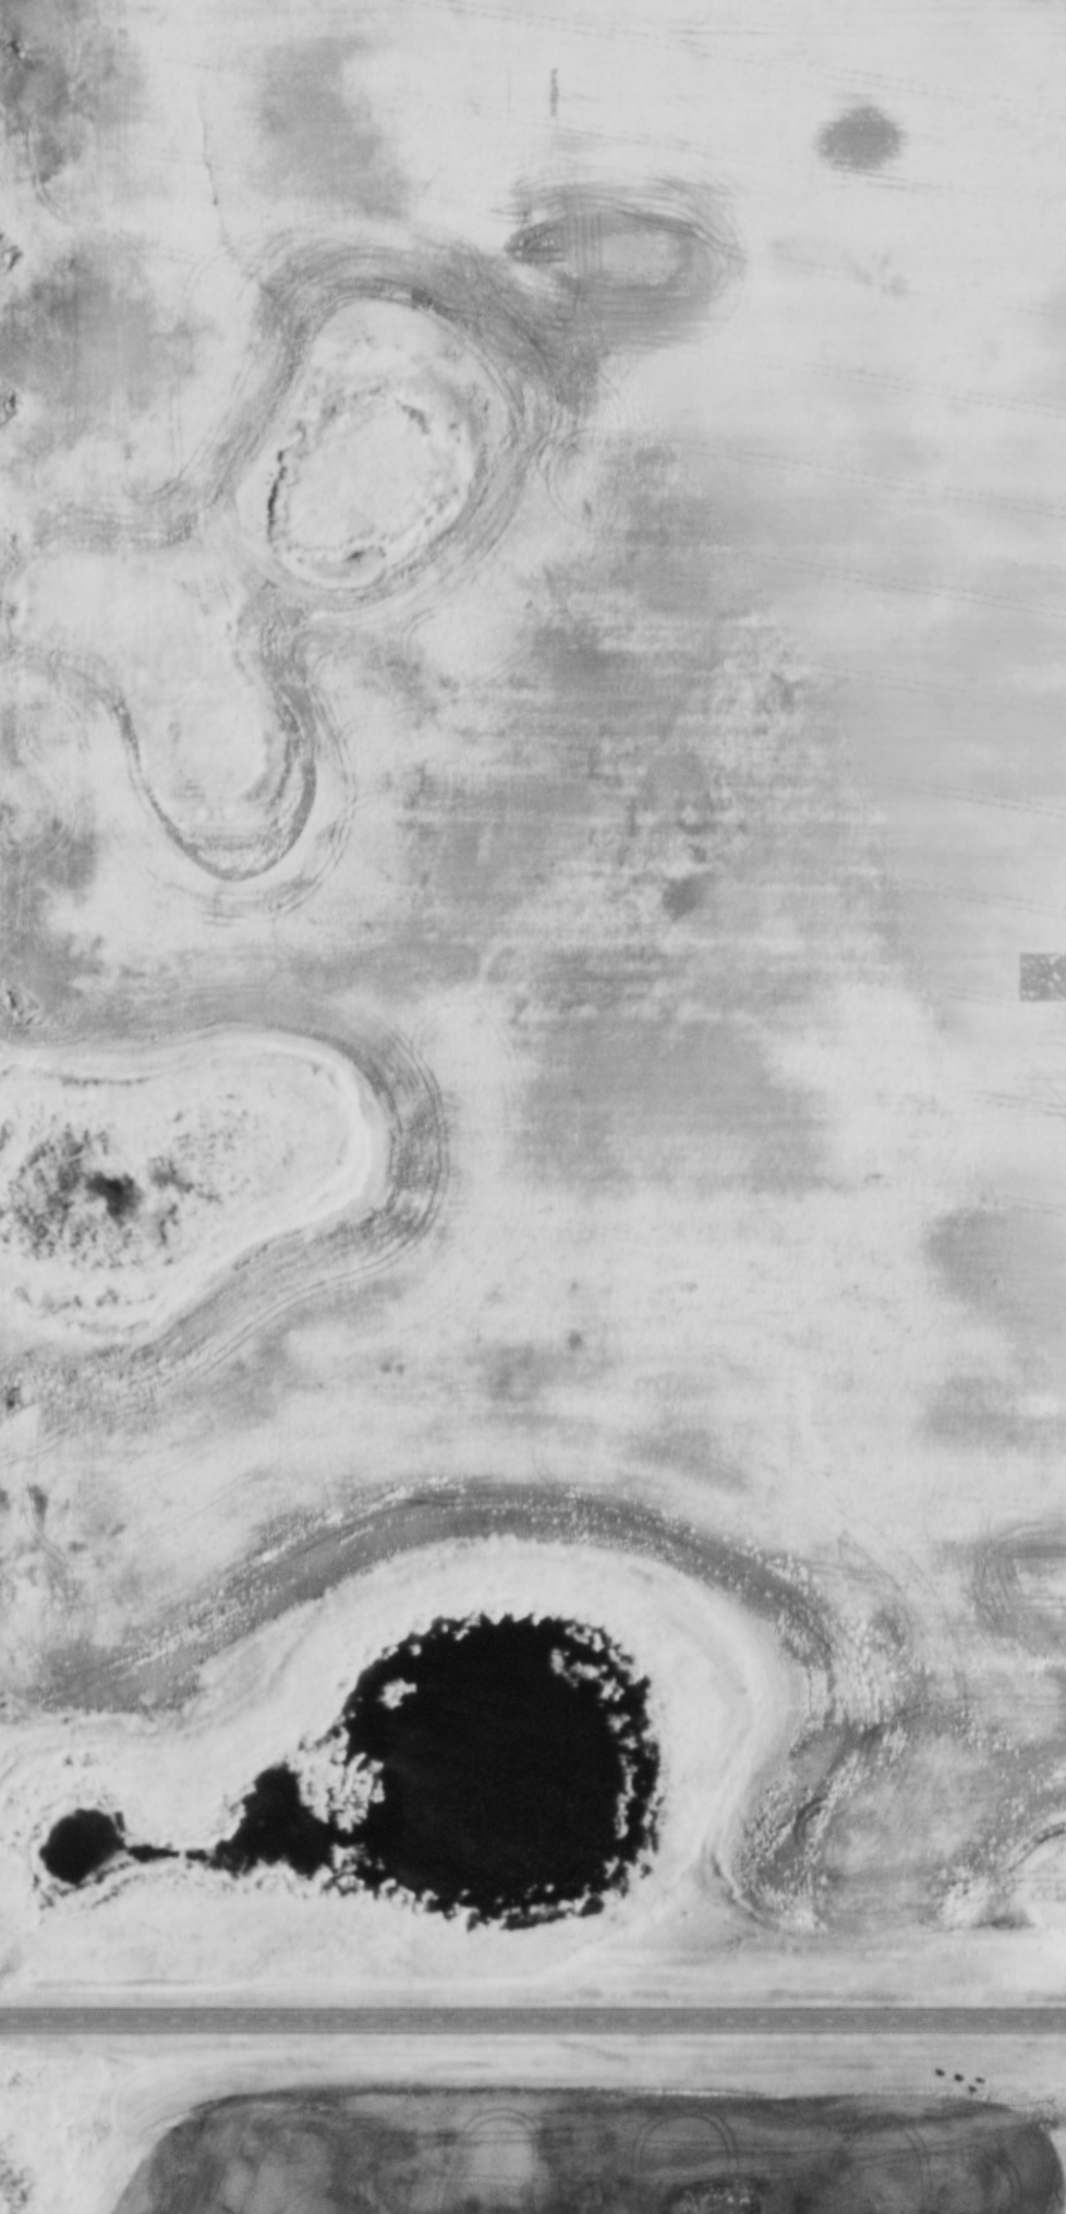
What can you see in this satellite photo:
road: (533, 2015)

